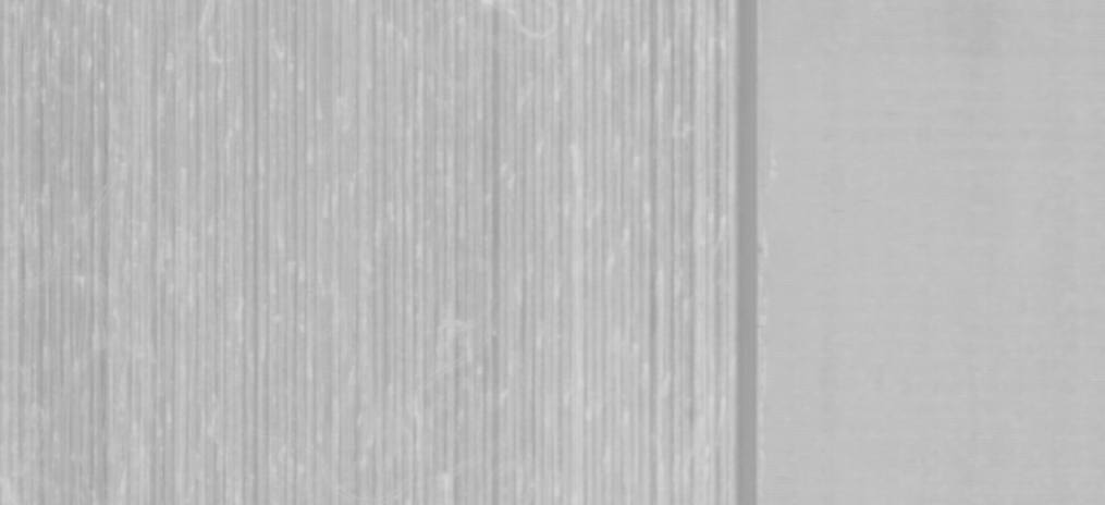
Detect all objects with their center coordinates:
crop: (354, 251)
road: (789, 253)
crop: (907, 253)

